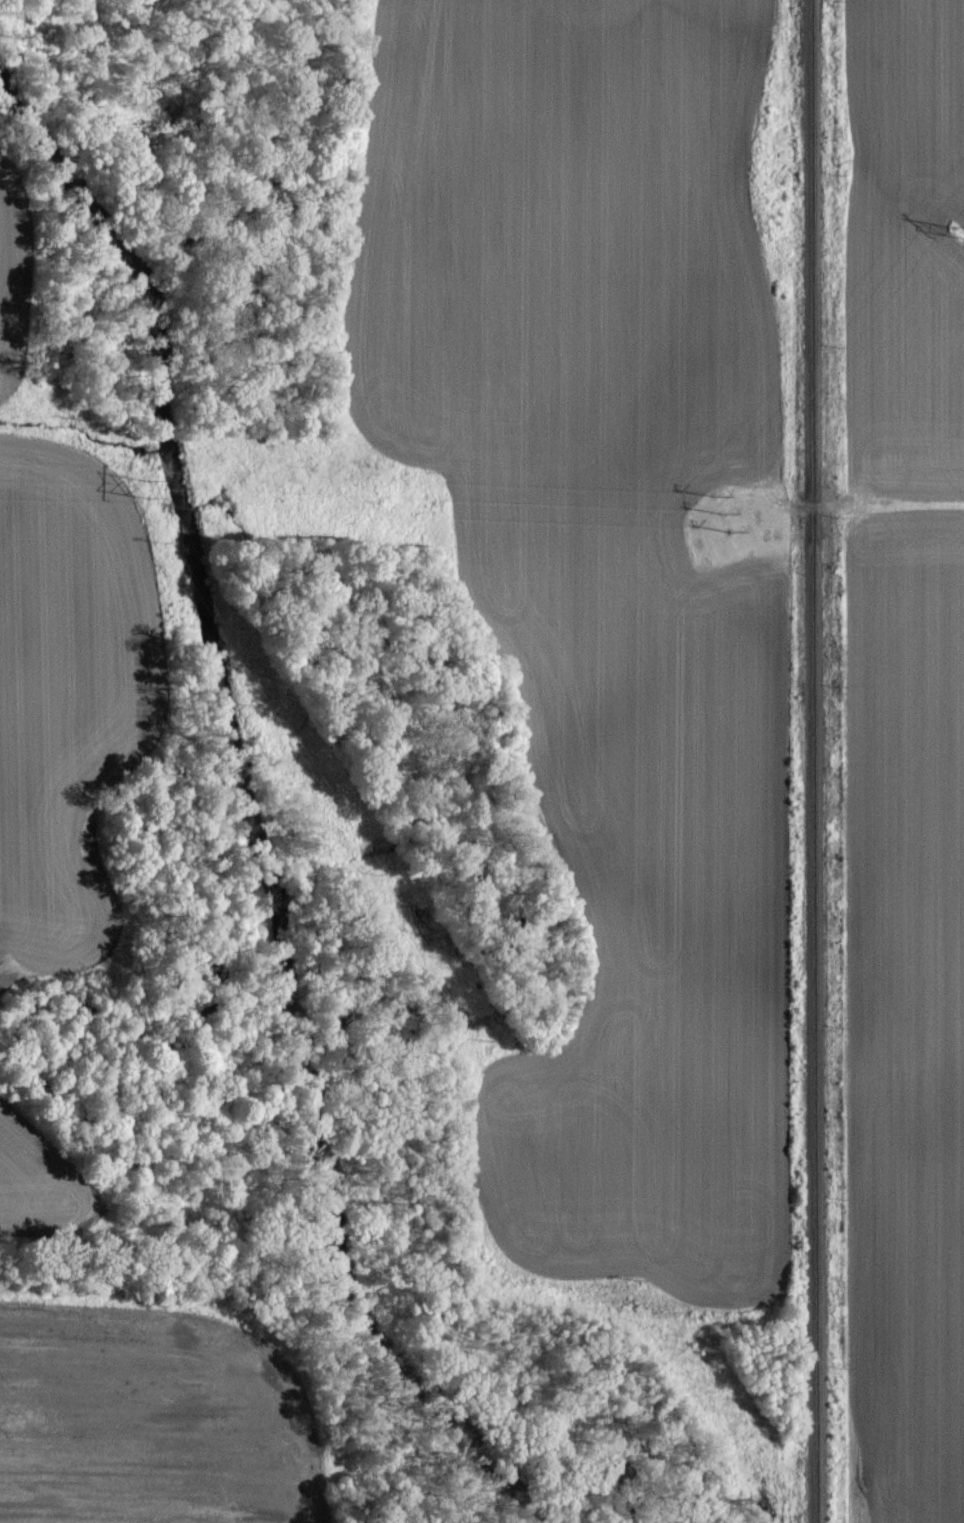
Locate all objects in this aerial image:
power tower: (955, 234)
power tower: (146, 489)
road: (907, 502)
power tower: (722, 512)
railway: (814, 761)

